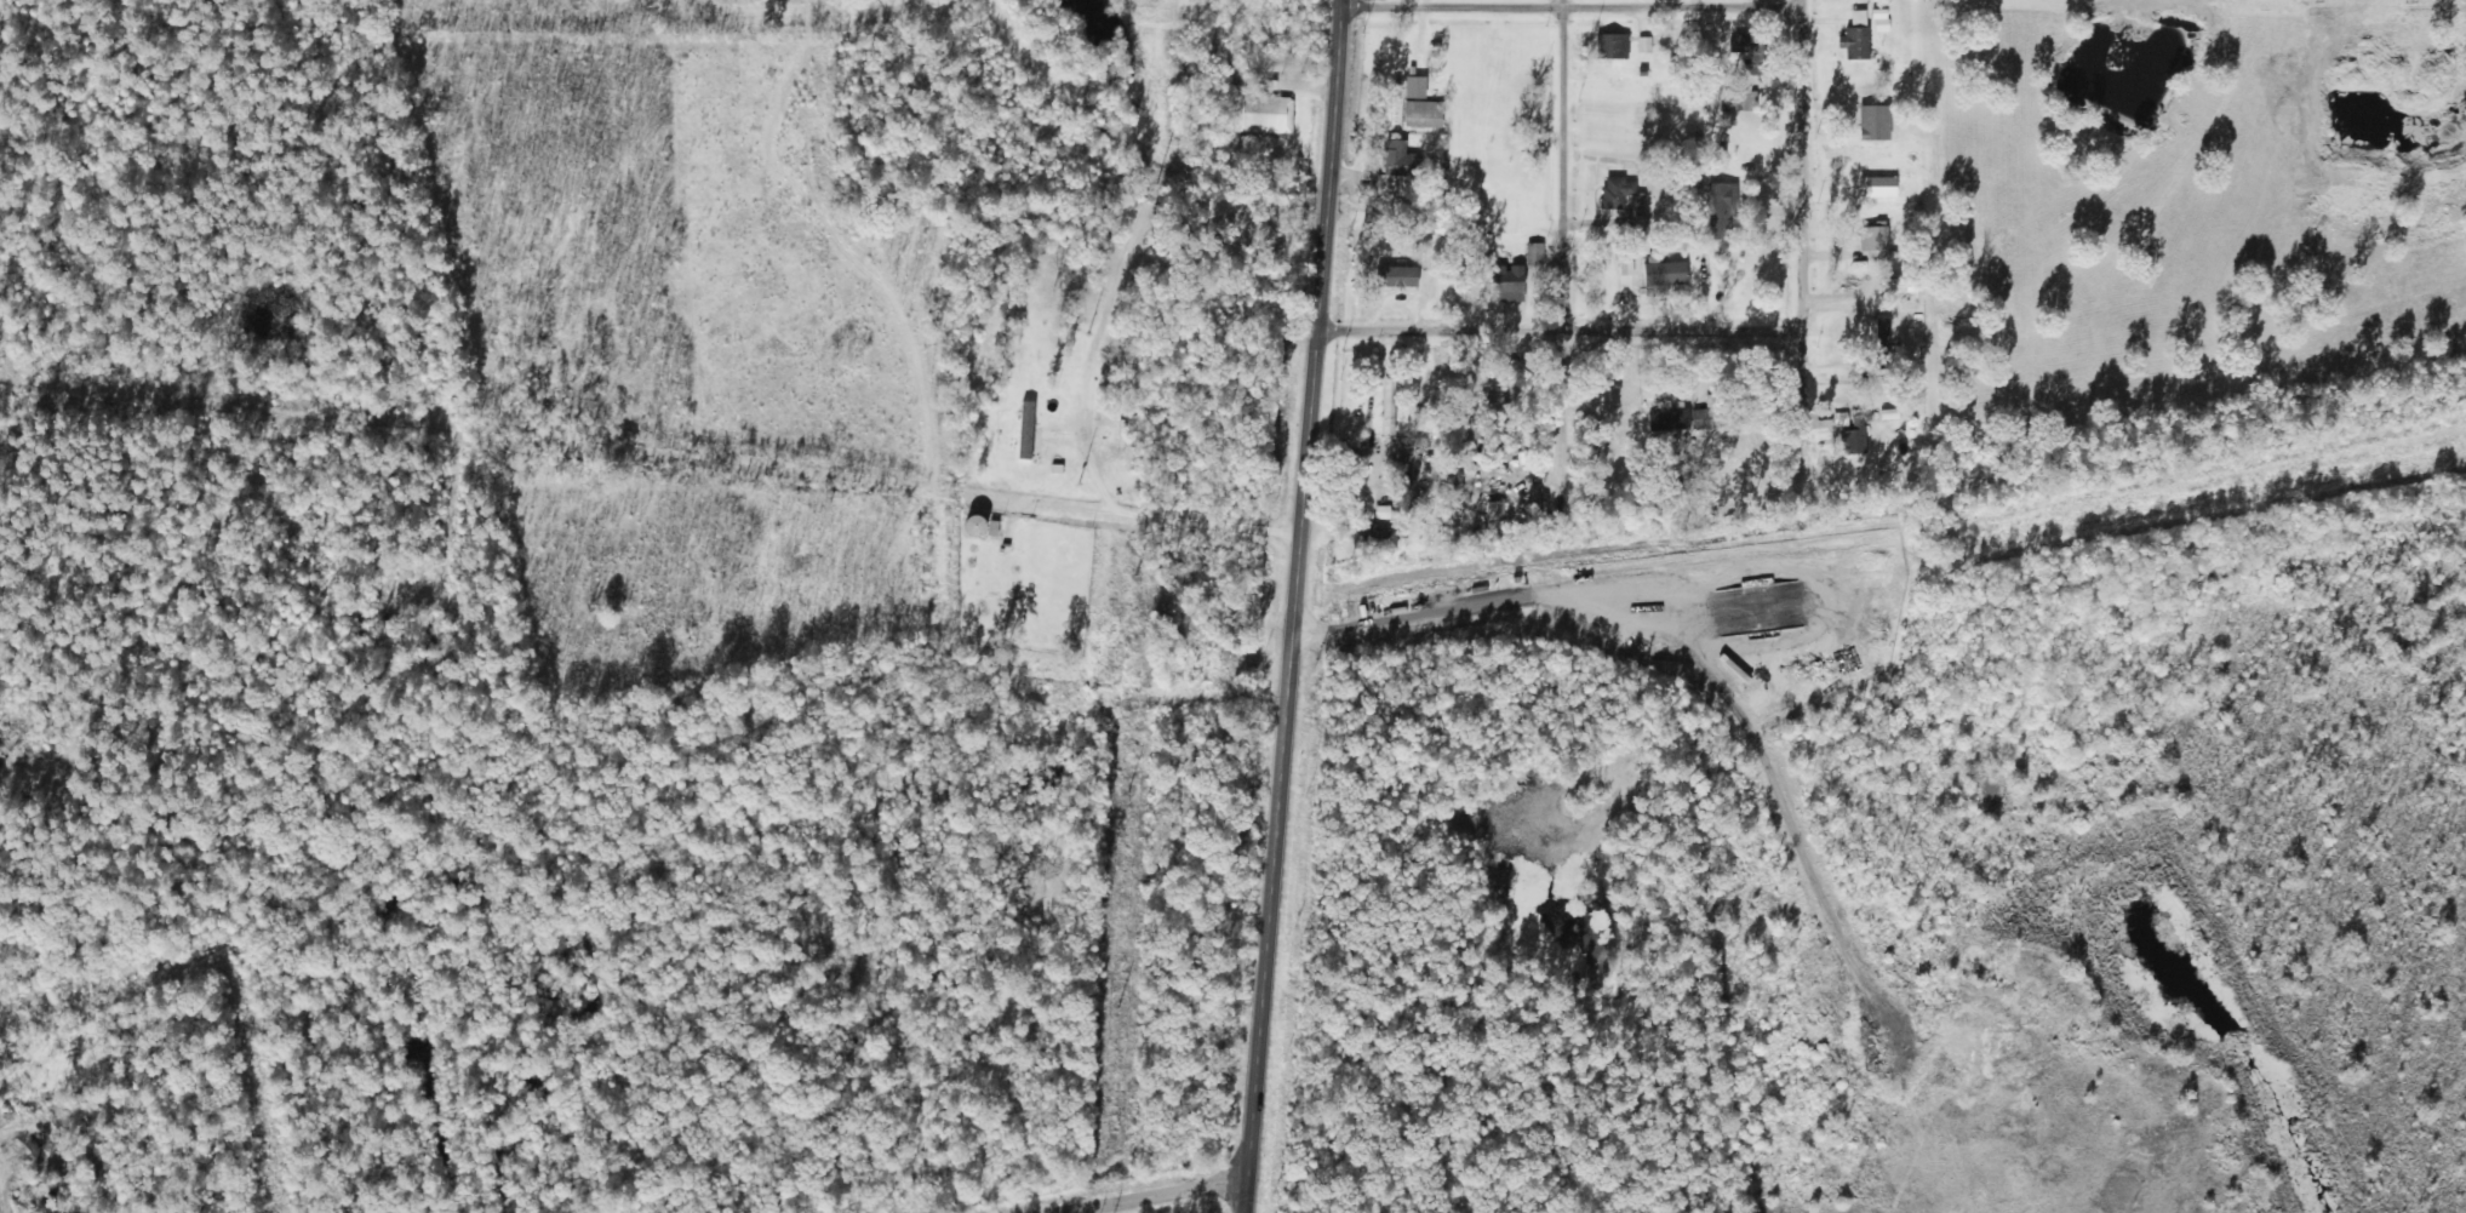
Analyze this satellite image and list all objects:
road: (1383, 5)
building: (1854, 35)
building: (1612, 46)
building: (1749, 50)
building: (1415, 86)
building: (1749, 101)
building: (1264, 114)
building: (1424, 114)
building: (1850, 120)
building: (1396, 167)
building: (1618, 194)
building: (1720, 212)
building: (1638, 223)
road: (1787, 231)
road: (1546, 246)
building: (1534, 253)
building: (1413, 263)
building: (1665, 274)
building: (1507, 284)
road: (904, 286)
road: (1541, 309)
building: (1852, 334)
building: (1389, 406)
building: (1680, 419)
road: (650, 420)
building: (1853, 431)
building: (1026, 440)
road: (450, 517)
building: (984, 526)
road: (1876, 536)
building: (1373, 538)
road: (161, 556)
road: (1292, 606)
road: (1152, 1197)

